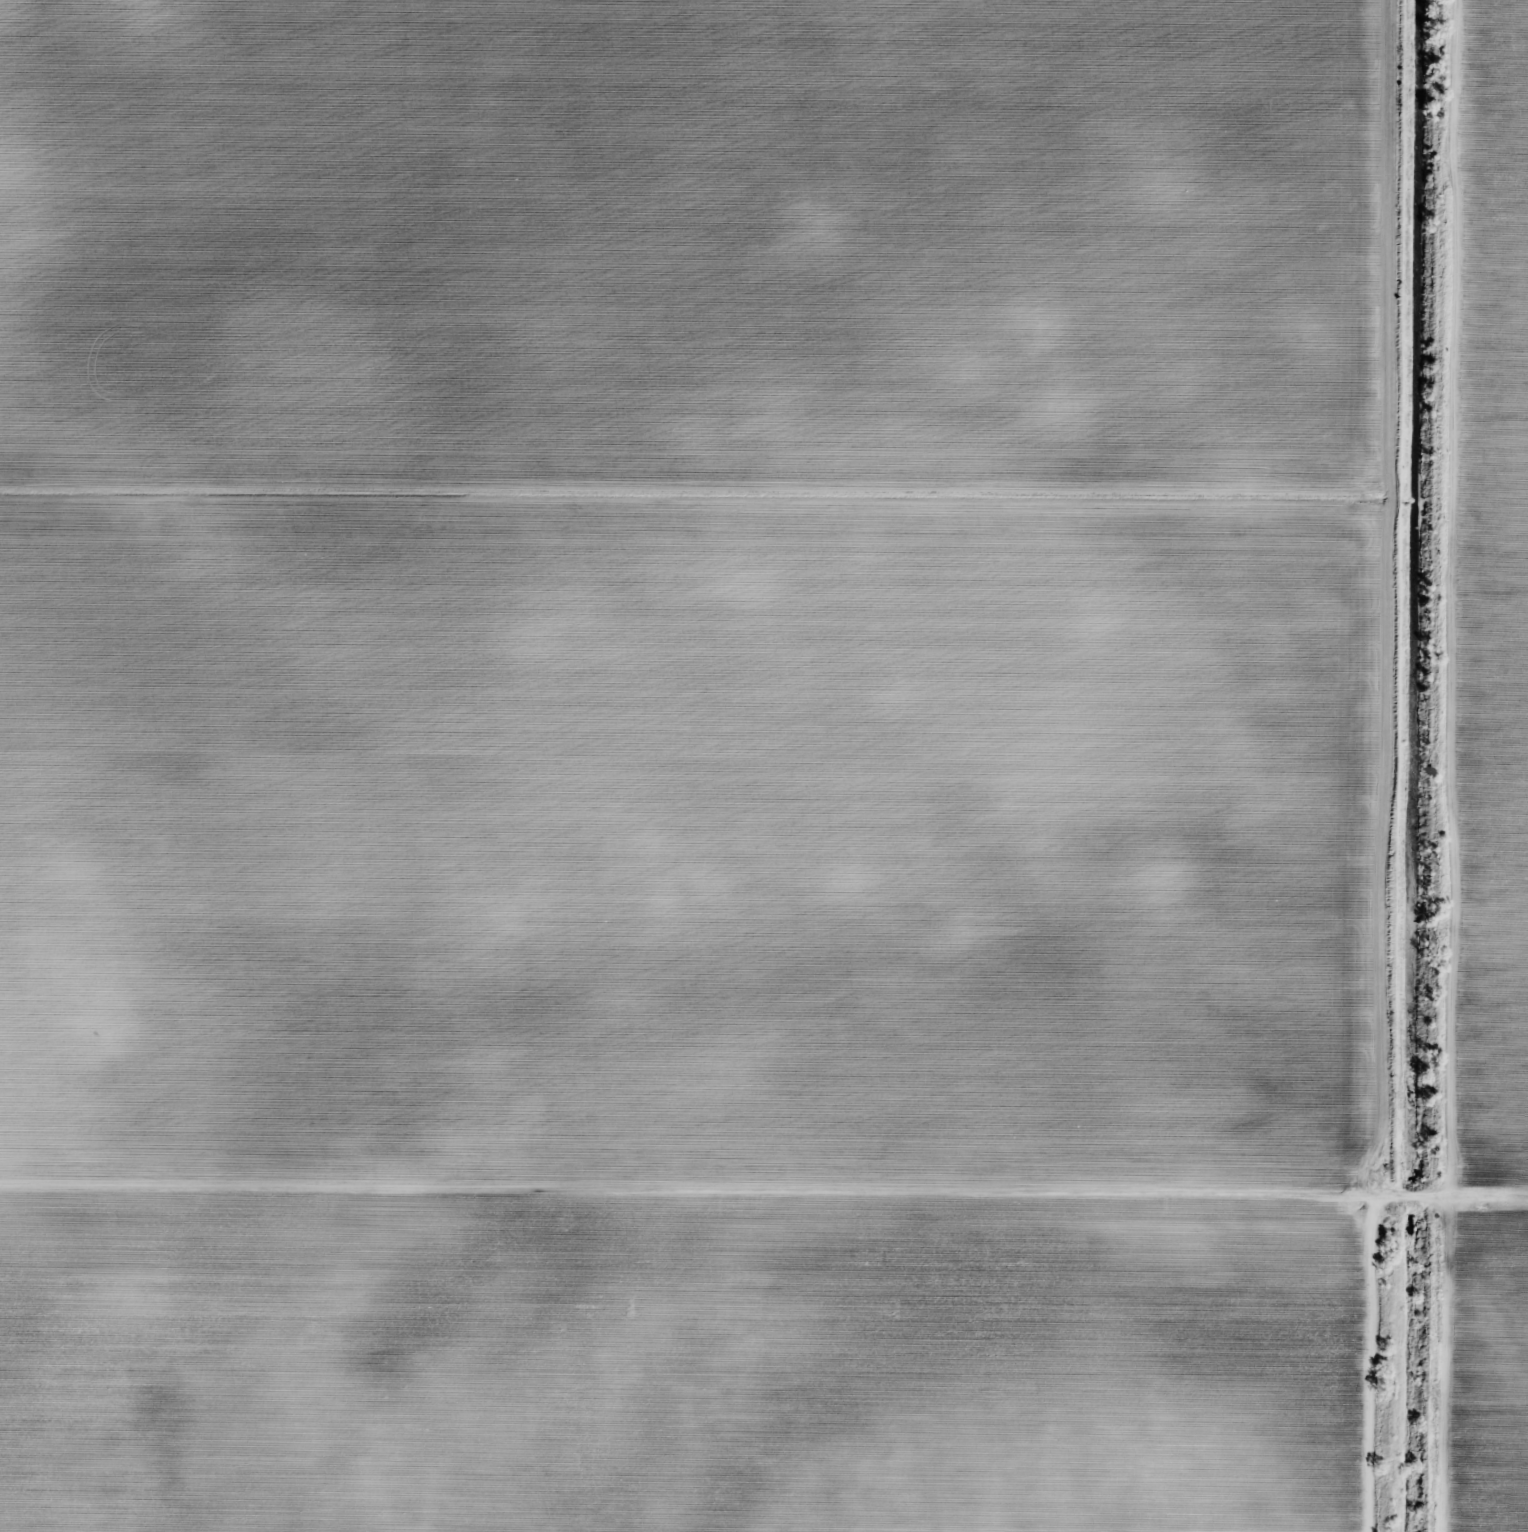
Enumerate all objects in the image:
road: (1266, 1367)

